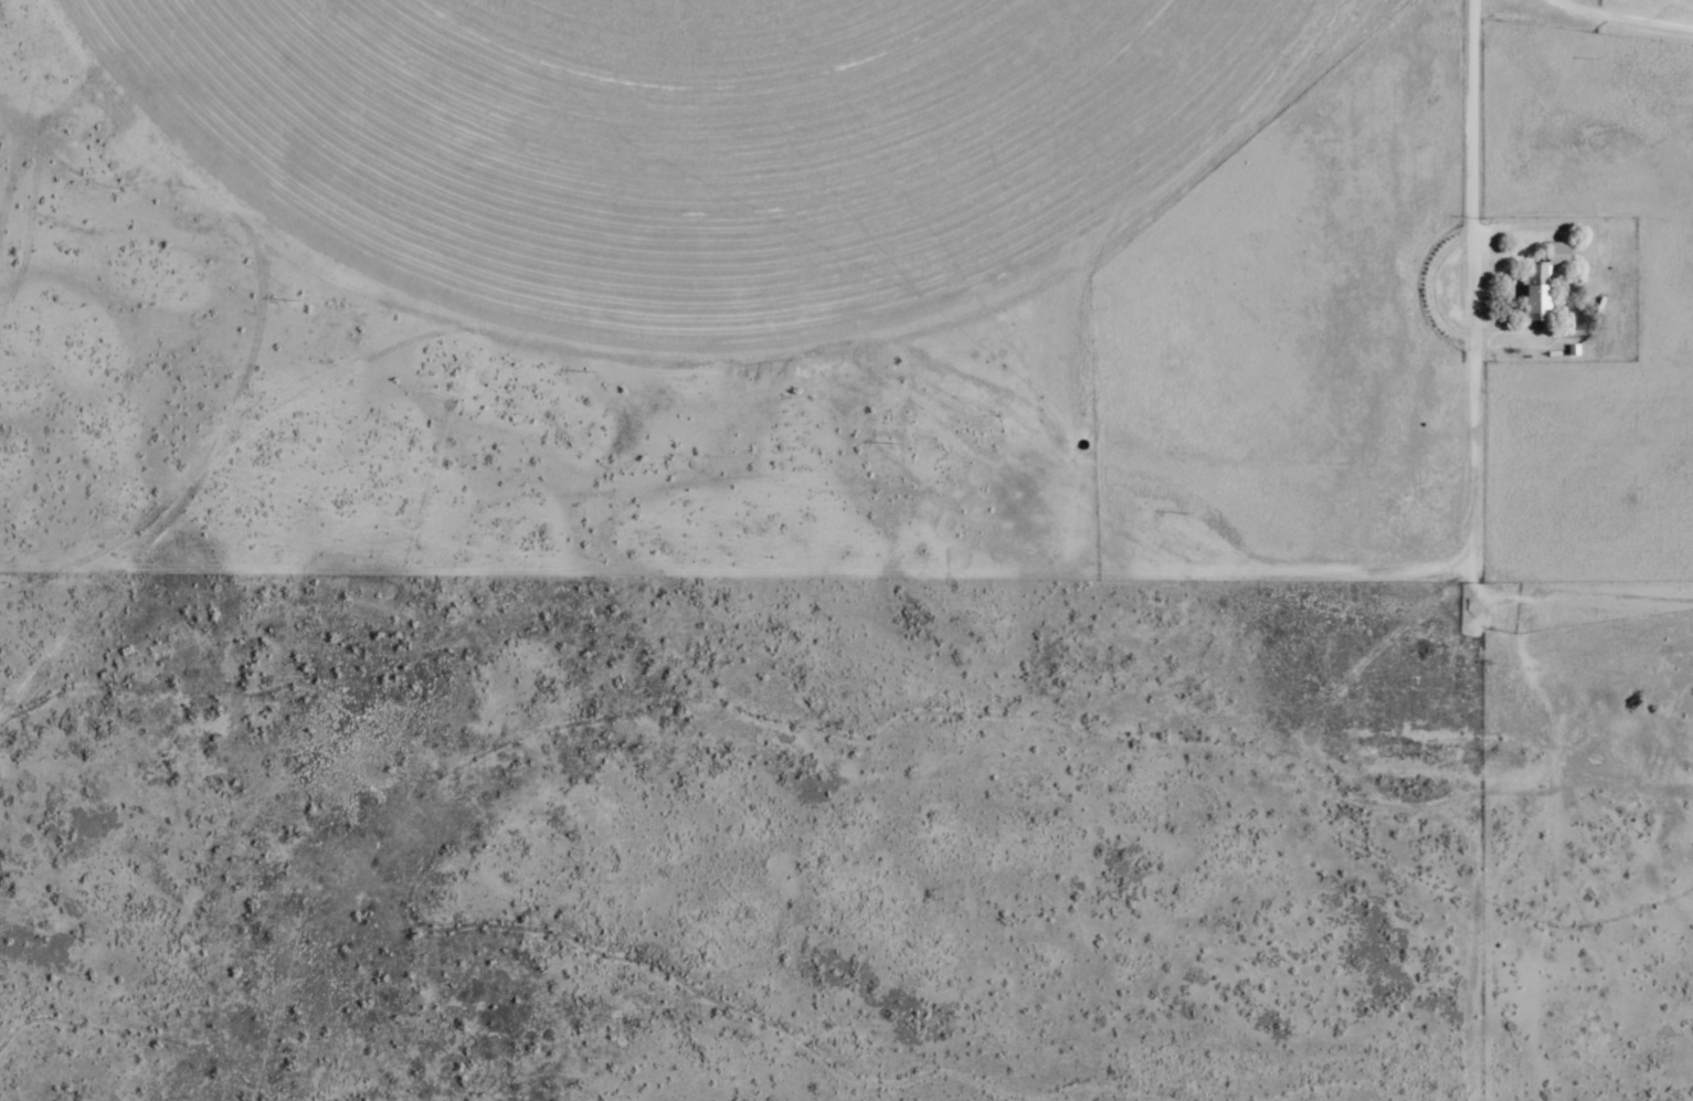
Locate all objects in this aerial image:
road: (1474, 207)
building: (1543, 283)

